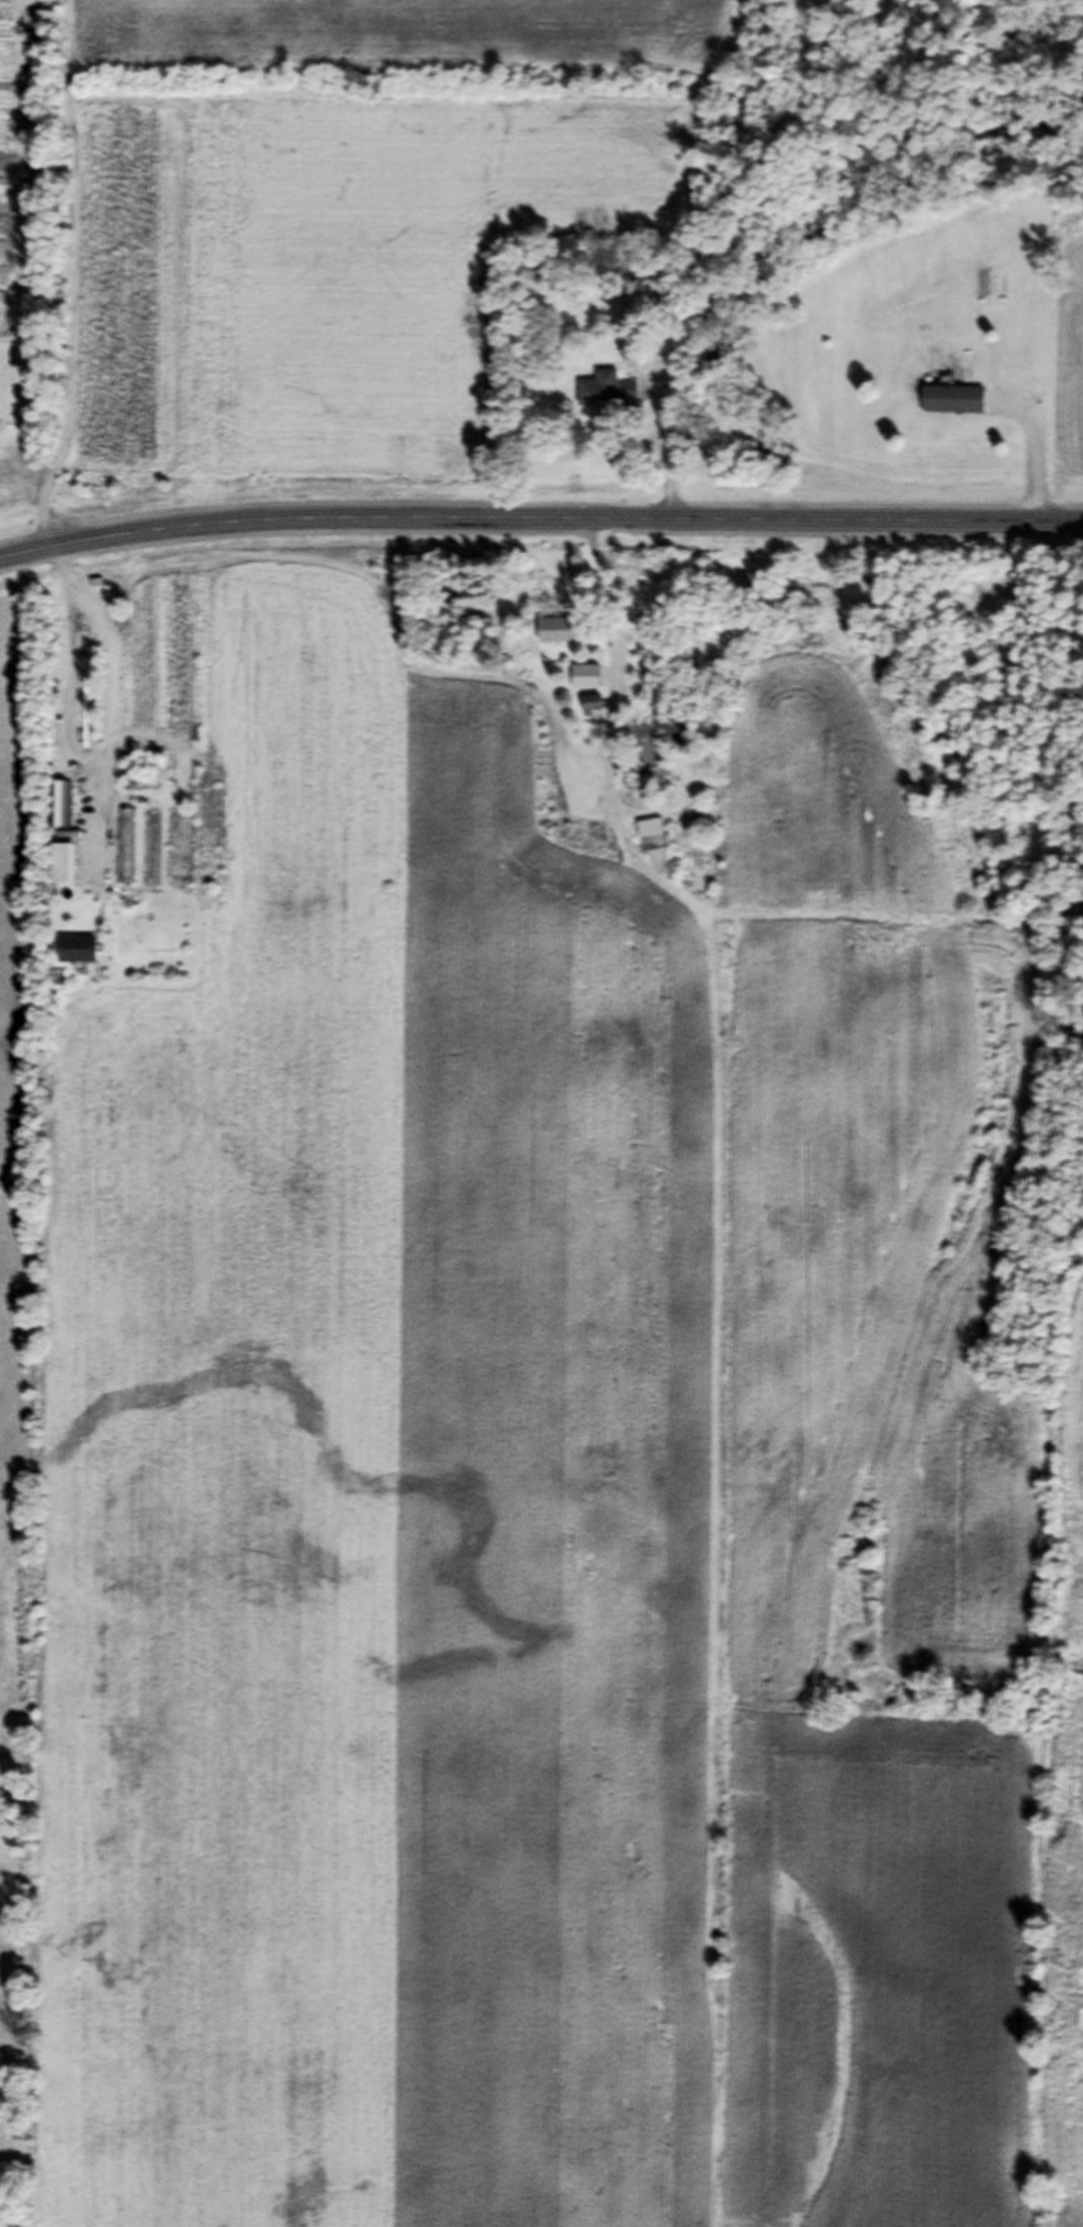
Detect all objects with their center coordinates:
building: (639, 310)
building: (602, 396)
building: (954, 406)
road: (540, 521)
road: (372, 603)
building: (557, 637)
road: (619, 670)
building: (586, 682)
road: (113, 690)
building: (590, 709)
building: (677, 736)
building: (56, 811)
building: (651, 835)
building: (123, 853)
building: (148, 854)
building: (178, 854)
building: (63, 869)
building: (79, 957)

